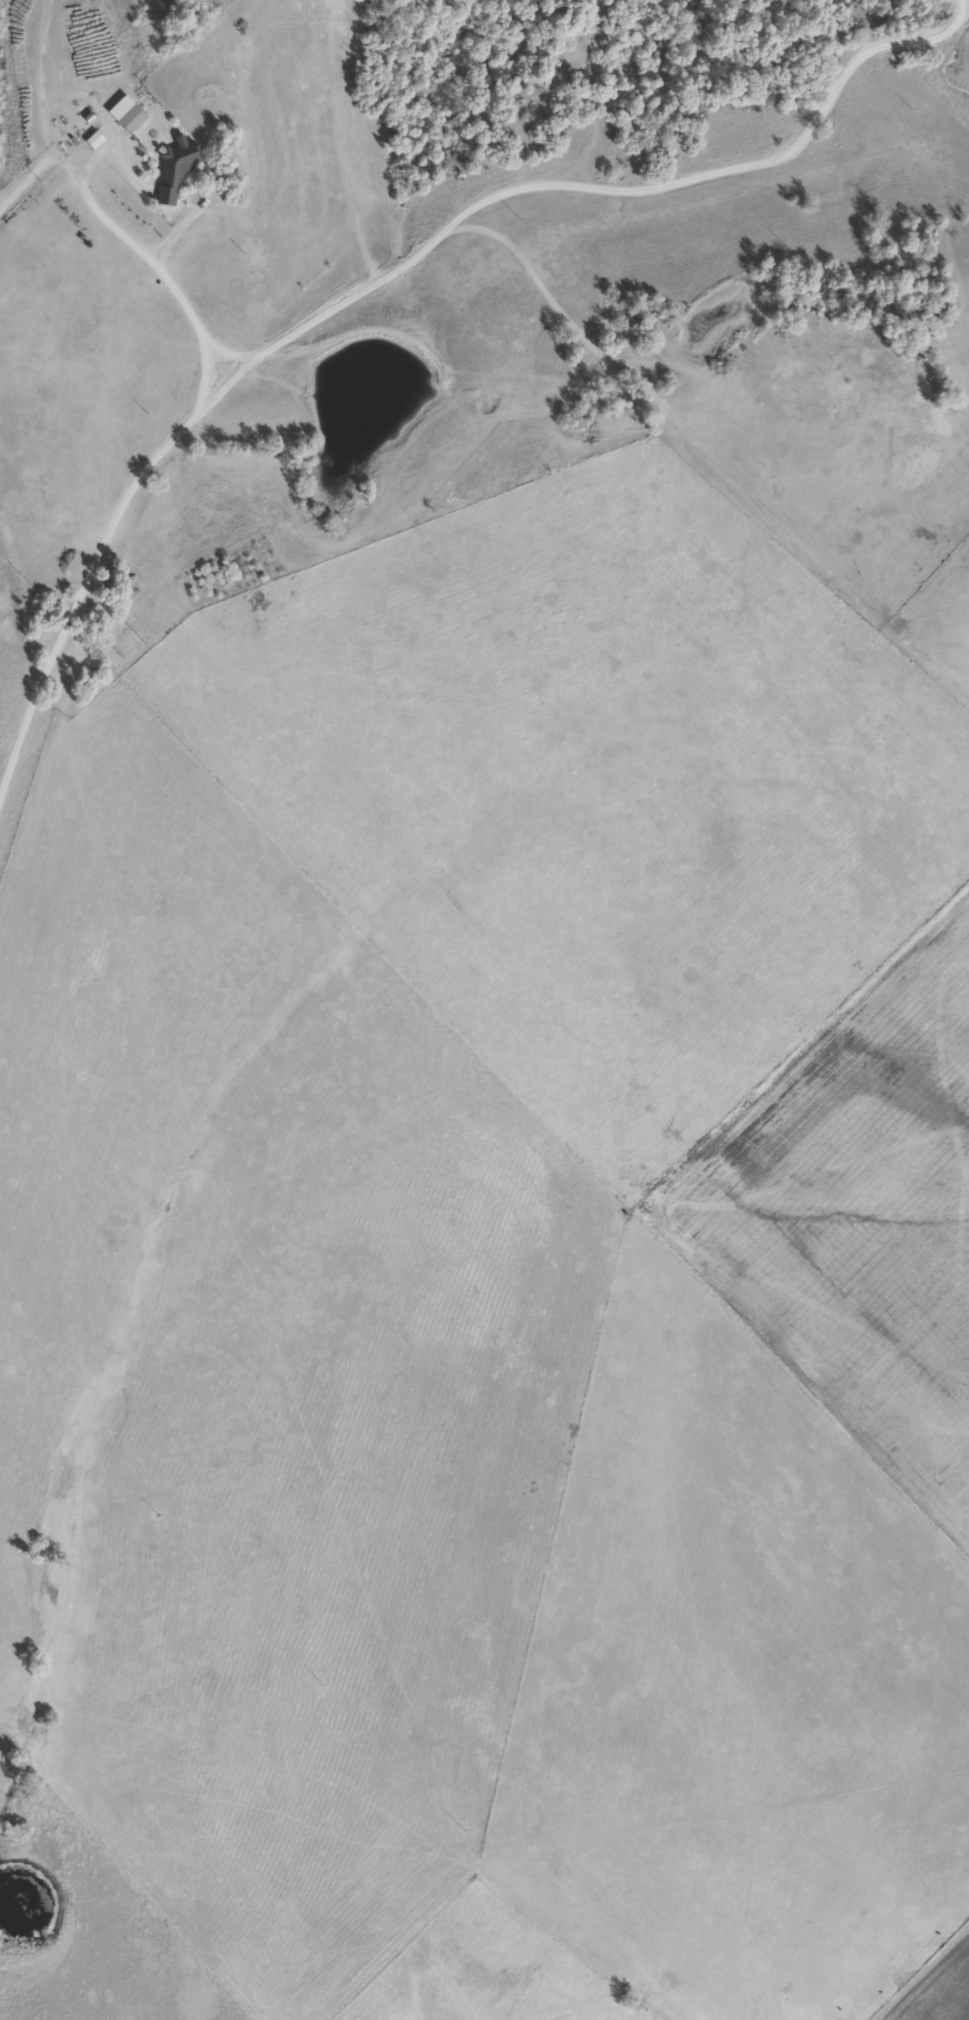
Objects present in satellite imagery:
road: (60, 105)
building: (130, 118)
building: (173, 171)
road: (178, 267)
road: (335, 290)
road: (109, 335)

